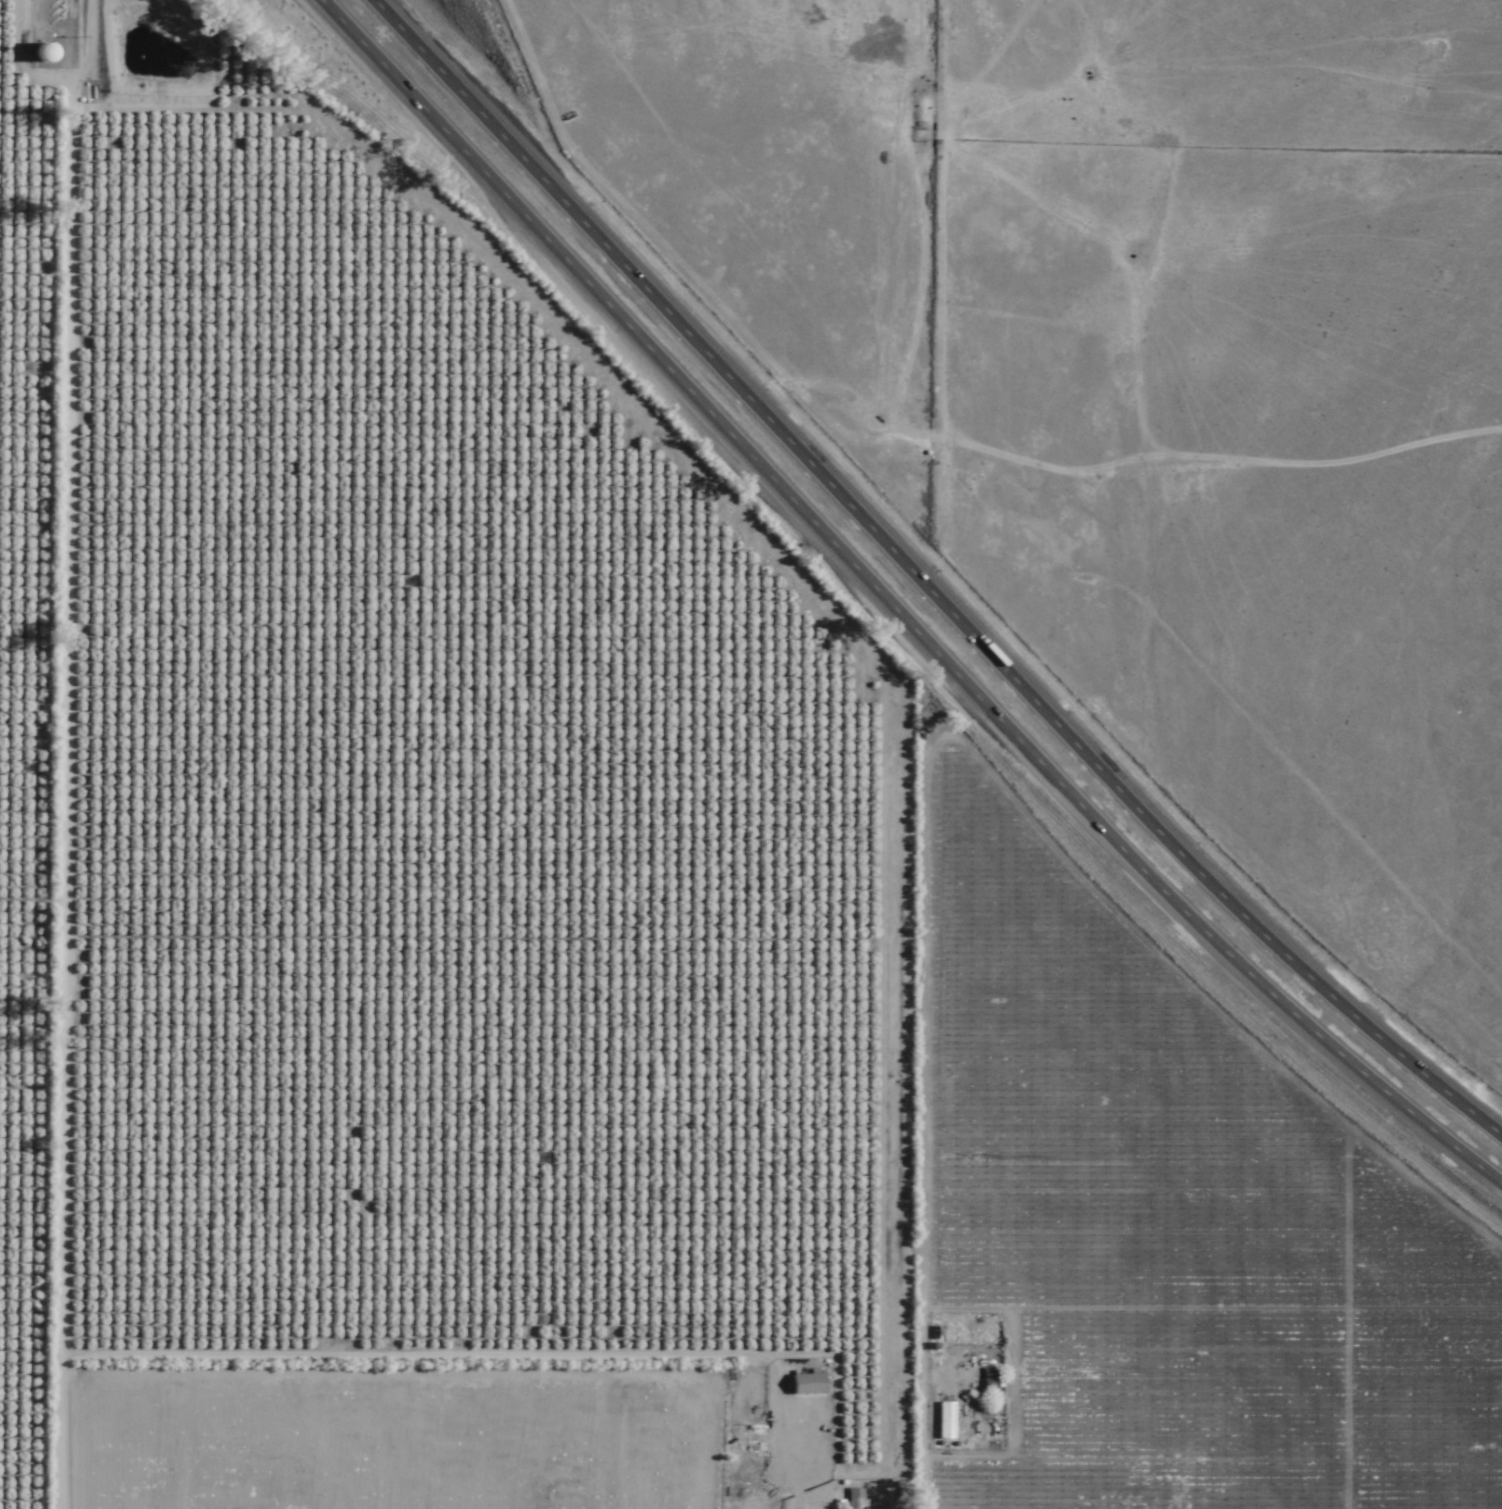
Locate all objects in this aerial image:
wastewater plant: (158, 50)
building: (45, 51)
road: (926, 576)
road: (888, 610)
building: (168, 615)
building: (0, 623)
road: (41, 778)
crop: (420, 852)
building: (217, 994)
building: (948, 1334)
building: (989, 1378)
building: (809, 1384)
building: (945, 1420)
building: (855, 1499)

